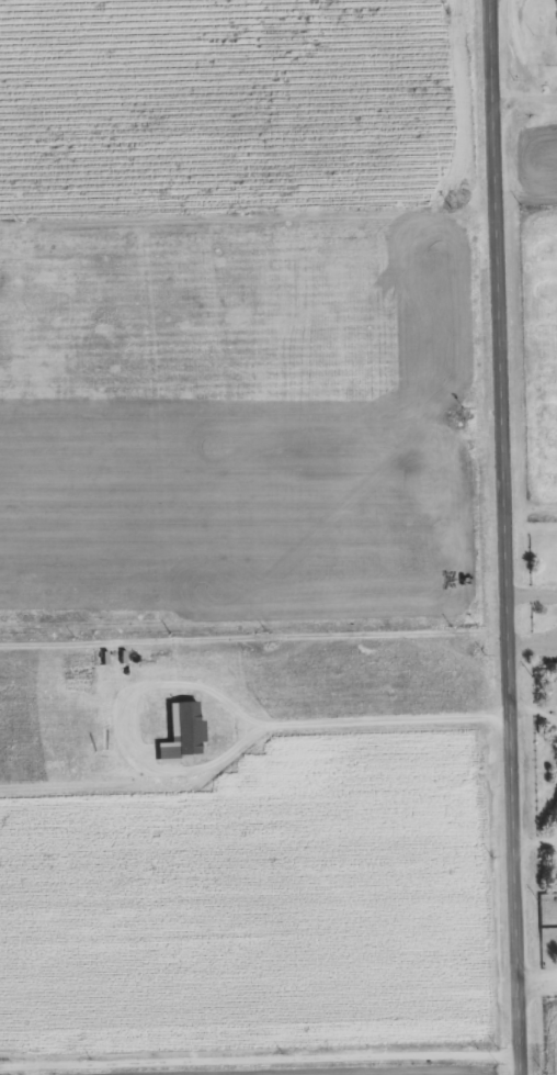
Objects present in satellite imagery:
road: (278, 212)
road: (505, 537)
road: (254, 642)

